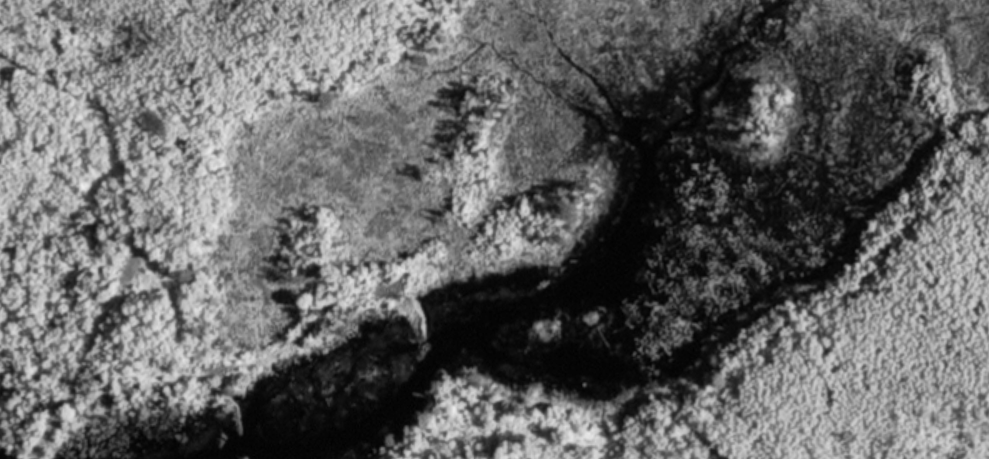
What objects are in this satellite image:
road: (128, 236)

